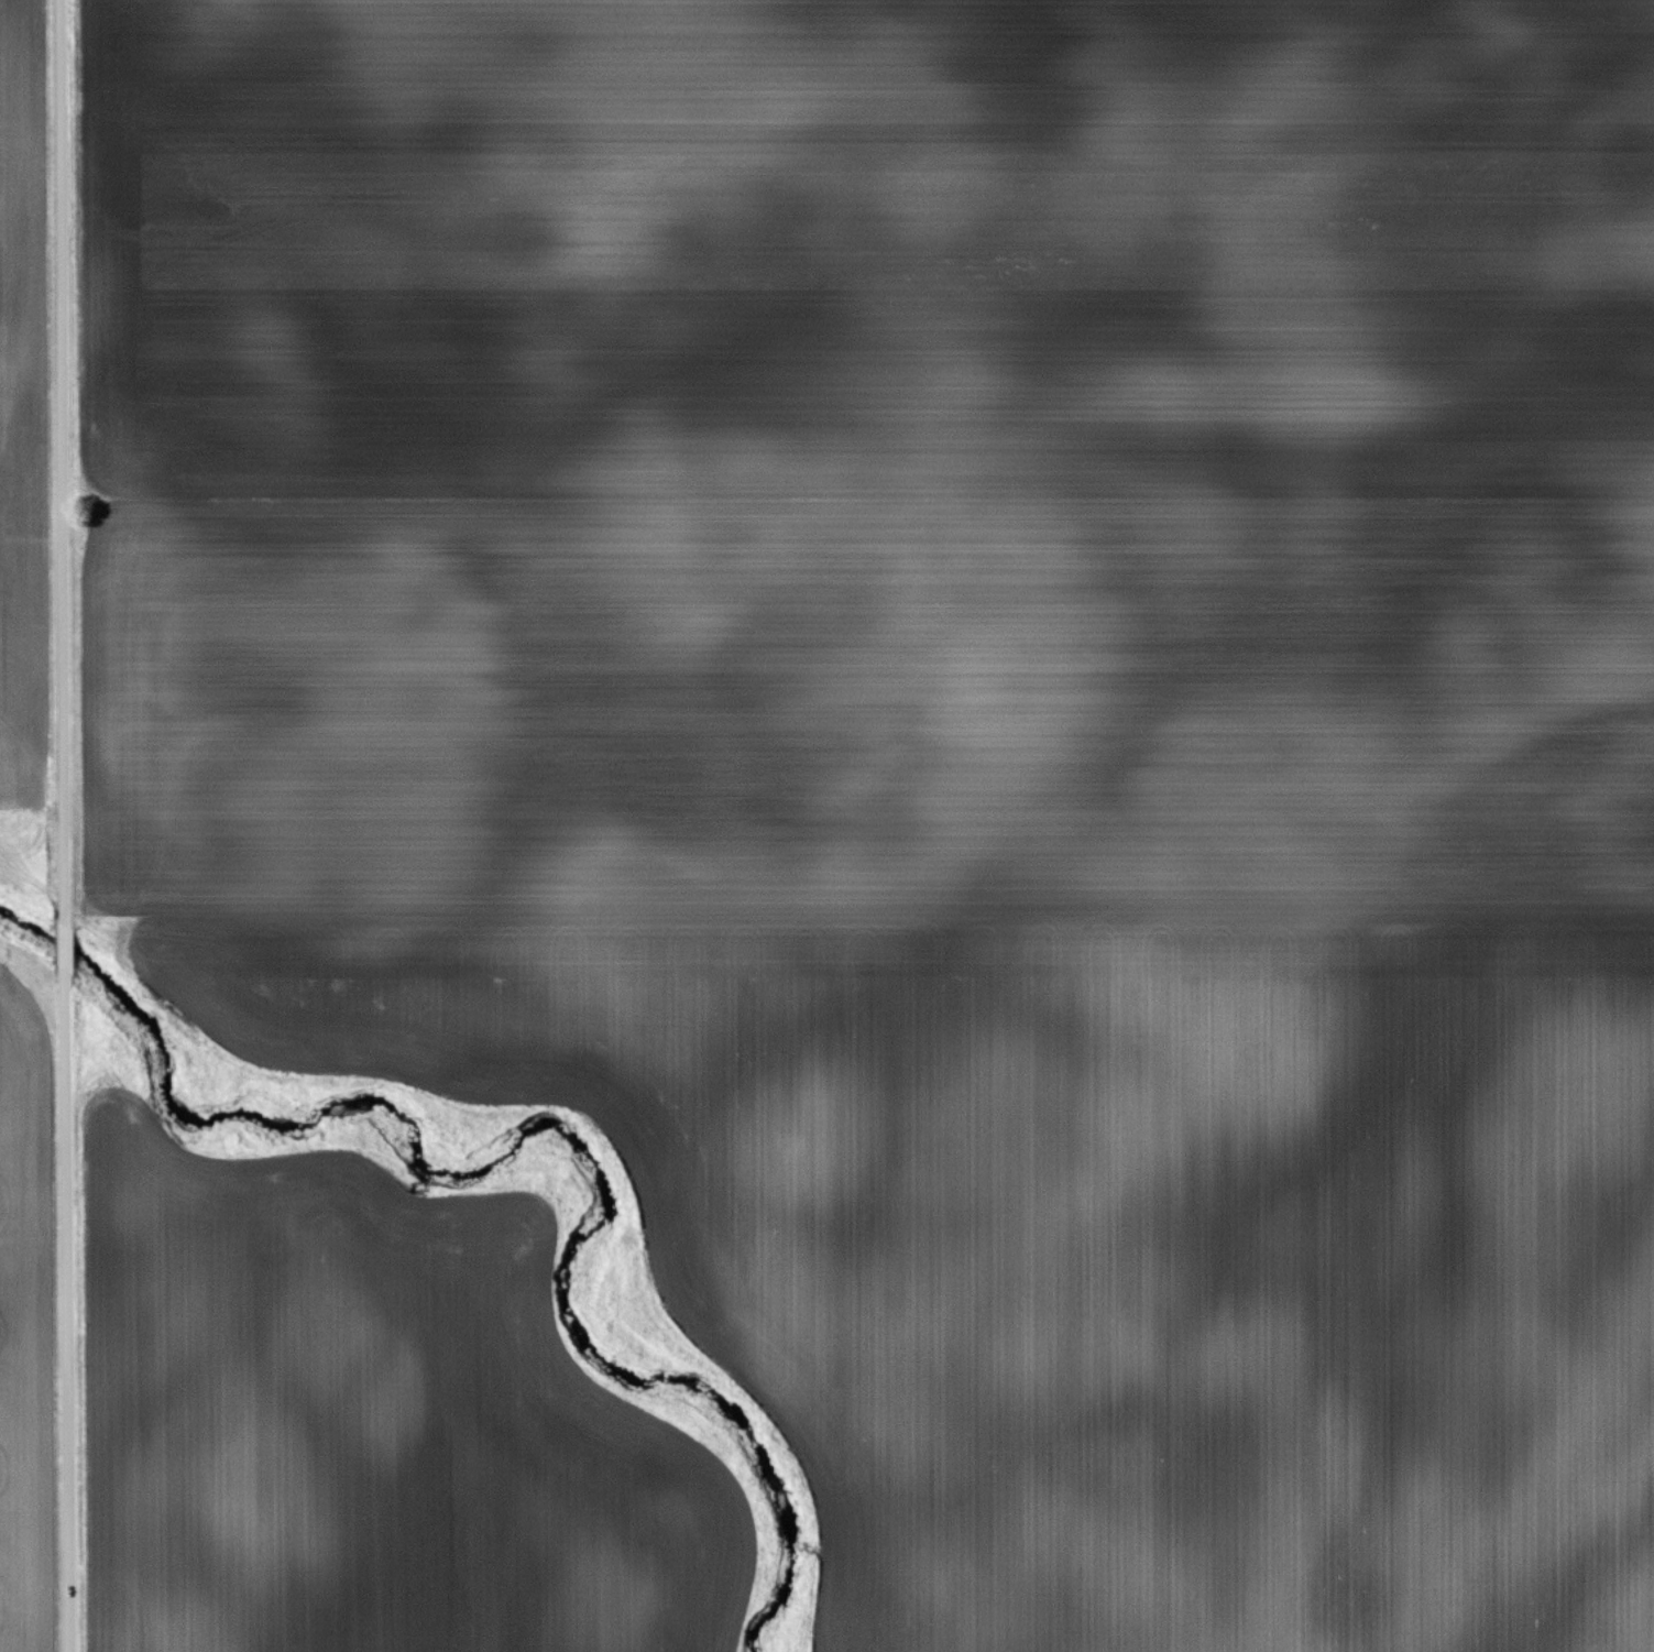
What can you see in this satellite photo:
road: (66, 825)

